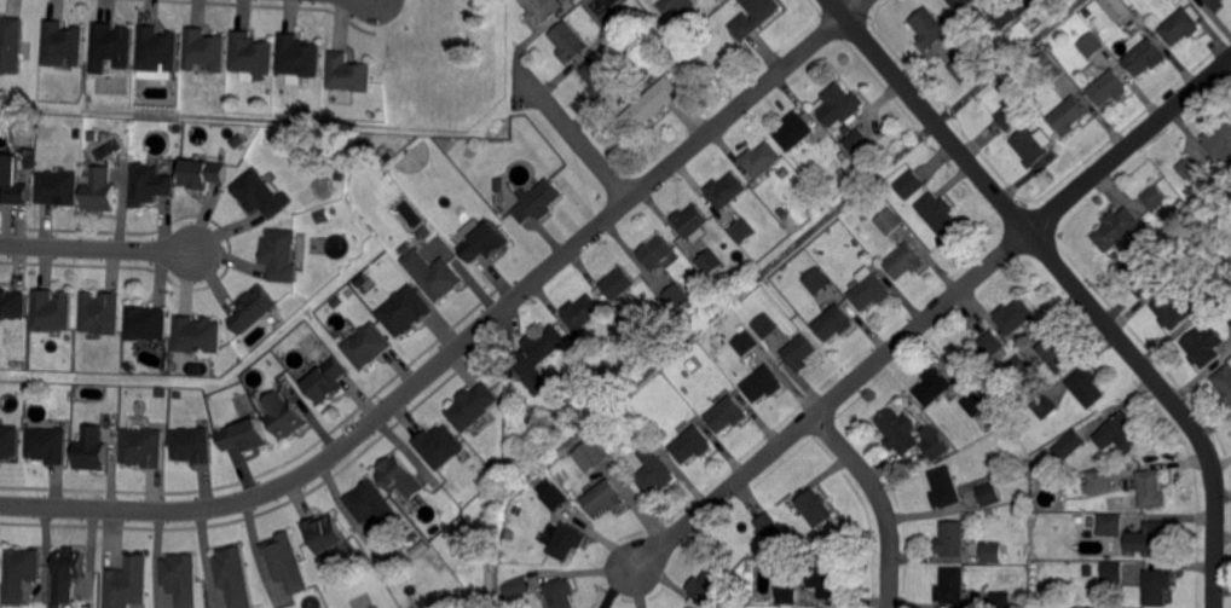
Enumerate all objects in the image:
building: (721, 0)
building: (959, 2)
building: (680, 5)
building: (1215, 5)
building: (664, 6)
building: (1021, 6)
building: (1115, 7)
road: (855, 8)
building: (541, 10)
building: (620, 17)
building: (755, 17)
building: (1002, 17)
building: (929, 28)
building: (1179, 28)
building: (570, 41)
building: (12, 44)
building: (1090, 44)
building: (63, 45)
building: (111, 48)
building: (204, 48)
building: (158, 51)
building: (250, 53)
building: (297, 56)
building: (1144, 58)
building: (674, 64)
building: (963, 66)
building: (640, 68)
building: (1048, 69)
building: (349, 75)
building: (1015, 76)
building: (600, 77)
building: (1109, 88)
building: (842, 102)
building: (651, 105)
building: (1070, 115)
building: (1007, 117)
building: (178, 128)
building: (846, 129)
building: (794, 131)
road: (572, 132)
building: (77, 134)
building: (93, 135)
building: (239, 141)
building: (857, 141)
building: (1220, 141)
building: (1030, 146)
building: (842, 154)
building: (761, 158)
building: (1187, 167)
building: (782, 170)
building: (340, 173)
building: (203, 174)
building: (12, 181)
building: (911, 184)
building: (150, 185)
building: (1163, 185)
building: (499, 186)
building: (58, 187)
building: (100, 190)
building: (727, 190)
building: (259, 195)
building: (543, 198)
building: (1154, 198)
building: (784, 212)
building: (324, 215)
building: (938, 215)
building: (890, 221)
building: (693, 222)
building: (1116, 228)
building: (742, 231)
building: (427, 232)
building: (485, 244)
road: (96, 247)
building: (408, 248)
building: (657, 251)
building: (1197, 251)
building: (281, 256)
building: (1115, 256)
building: (711, 261)
building: (905, 261)
building: (434, 276)
building: (1145, 276)
building: (363, 280)
building: (817, 280)
building: (619, 283)
road: (1071, 284)
building: (871, 291)
building: (1212, 296)
building: (678, 299)
building: (13, 305)
building: (254, 309)
building: (1173, 309)
building: (52, 312)
building: (405, 312)
building: (583, 312)
road: (931, 313)
building: (102, 314)
building: (1015, 315)
building: (834, 323)
building: (146, 324)
building: (765, 325)
building: (198, 336)
building: (746, 342)
building: (989, 344)
building: (1204, 346)
building: (368, 347)
road: (461, 348)
building: (798, 351)
building: (1056, 354)
building: (538, 357)
building: (131, 366)
building: (1017, 369)
building: (512, 375)
building: (328, 382)
building: (763, 383)
building: (1225, 384)
building: (936, 386)
building: (510, 388)
building: (1086, 388)
building: (684, 389)
building: (161, 393)
building: (179, 395)
building: (973, 404)
building: (1045, 405)
building: (473, 407)
building: (728, 415)
building: (284, 416)
building: (897, 432)
building: (1123, 433)
building: (245, 436)
building: (10, 442)
building: (692, 444)
building: (1069, 445)
building: (47, 446)
building: (193, 446)
building: (936, 446)
building: (143, 447)
building: (440, 447)
building: (92, 450)
building: (589, 453)
building: (654, 471)
building: (399, 477)
building: (1099, 481)
building: (946, 487)
building: (1150, 490)
building: (987, 491)
building: (554, 496)
building: (602, 496)
road: (879, 502)
building: (815, 506)
building: (375, 508)
building: (1091, 521)
building: (767, 523)
building: (1110, 523)
building: (508, 532)
building: (325, 533)
building: (952, 539)
building: (1156, 539)
building: (568, 542)
building: (416, 545)
building: (993, 554)
building: (287, 563)
building: (0, 566)
building: (22, 574)
building: (68, 574)
building: (1110, 574)
building: (235, 577)
building: (183, 579)
building: (830, 580)
building: (128, 584)
building: (519, 584)
building: (707, 585)
building: (953, 586)
building: (1155, 587)
building: (560, 592)
building: (787, 595)
building: (999, 600)
building: (67, 606)

